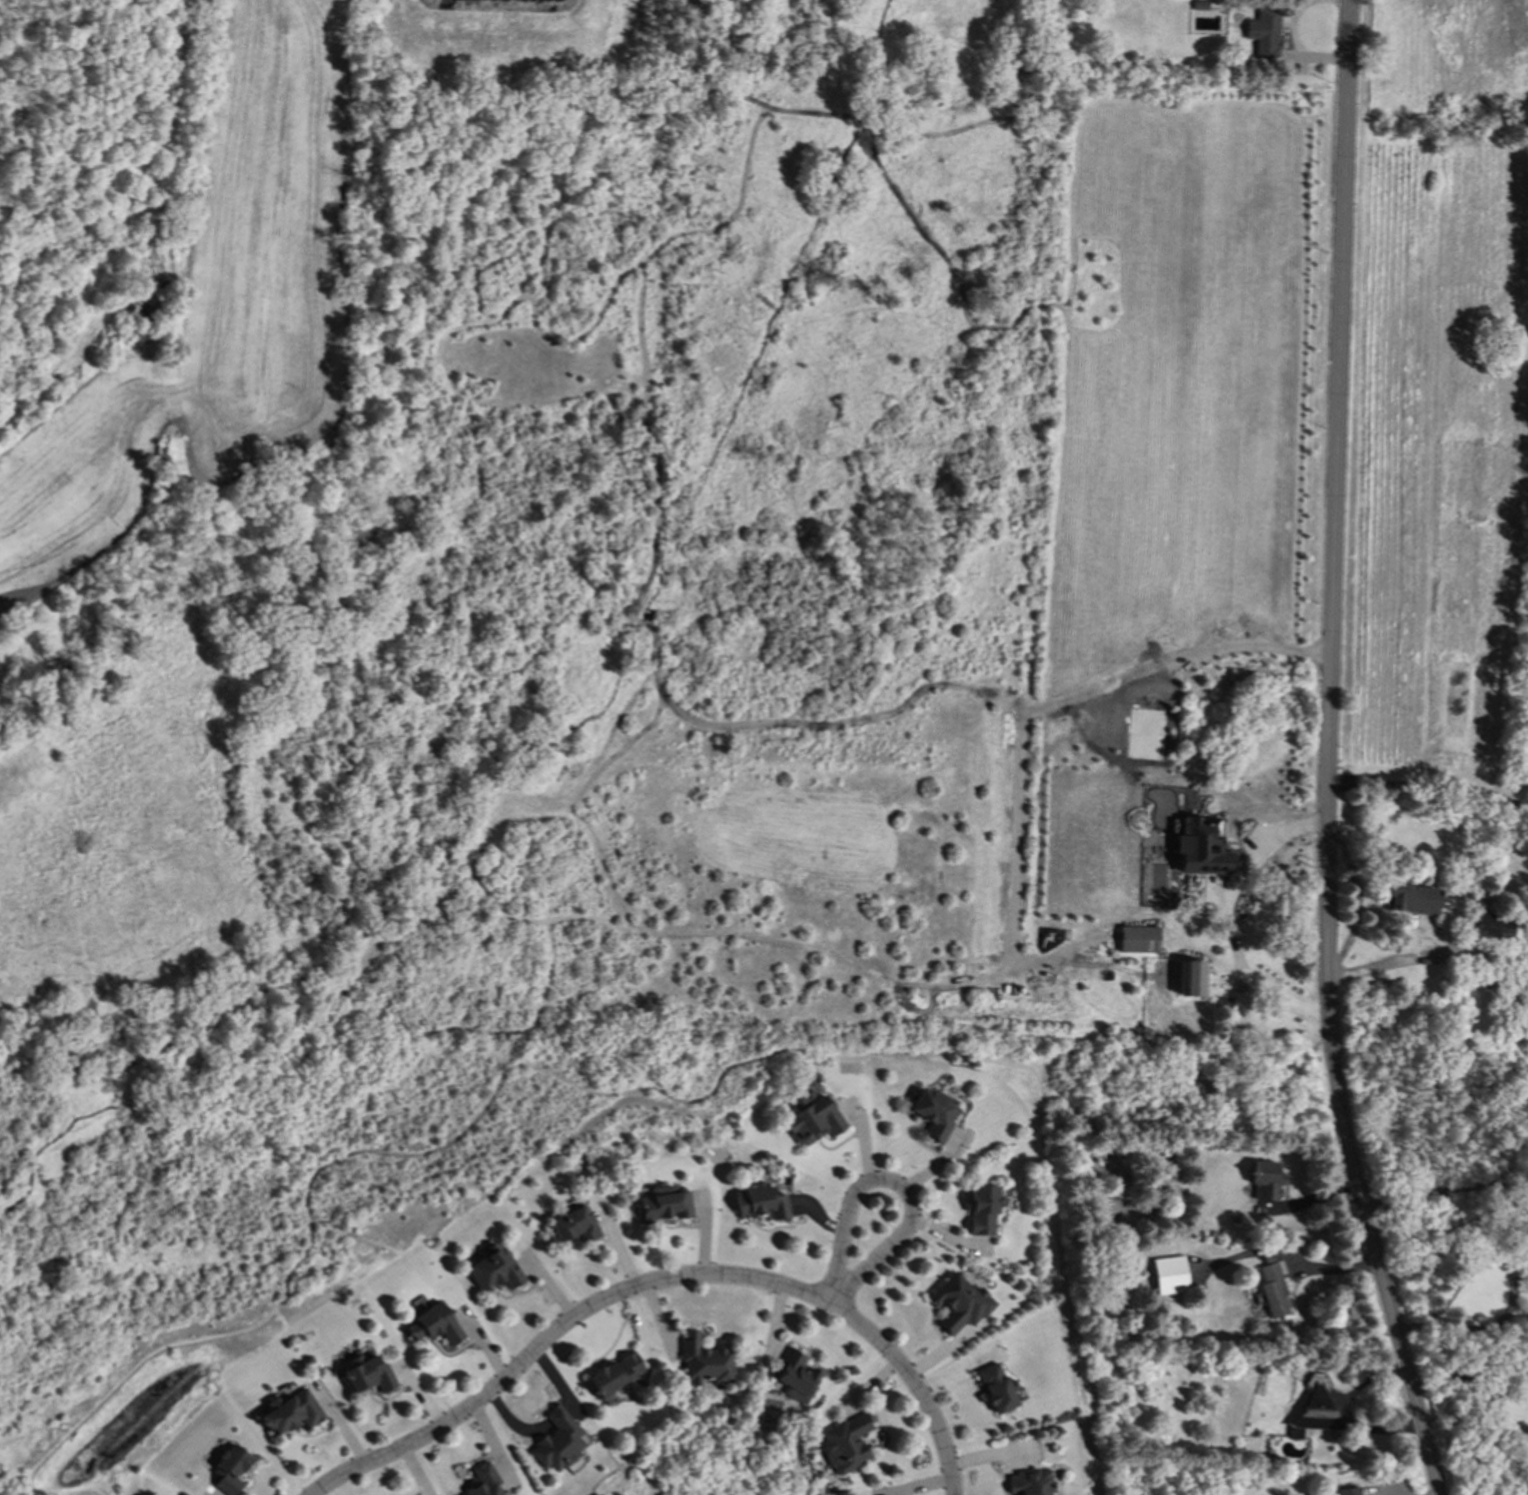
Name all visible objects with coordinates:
building: (1264, 34)
crop: (214, 311)
road: (1329, 754)
road: (1431, 782)
road: (1511, 803)
building: (1200, 847)
building: (1410, 899)
road: (1355, 905)
building: (1490, 927)
building: (1139, 940)
road: (1246, 965)
road: (1384, 968)
building: (1191, 979)
building: (1223, 1003)
building: (934, 1114)
building: (812, 1120)
building: (1265, 1182)
road: (896, 1185)
road: (1445, 1192)
building: (760, 1203)
building: (664, 1205)
building: (983, 1210)
building: (574, 1226)
road: (1505, 1267)
building: (494, 1270)
building: (1170, 1276)
road: (660, 1282)
building: (1272, 1289)
building: (960, 1304)
building: (435, 1326)
building: (704, 1363)
building: (368, 1375)
building: (616, 1375)
building: (795, 1377)
road: (555, 1380)
road: (1469, 1381)
building: (997, 1389)
building: (291, 1413)
road: (1348, 1415)
road: (558, 1417)
road: (514, 1426)
building: (559, 1442)
building: (846, 1444)
building: (229, 1470)
building: (485, 1481)
building: (1030, 1483)
building: (1348, 1491)

